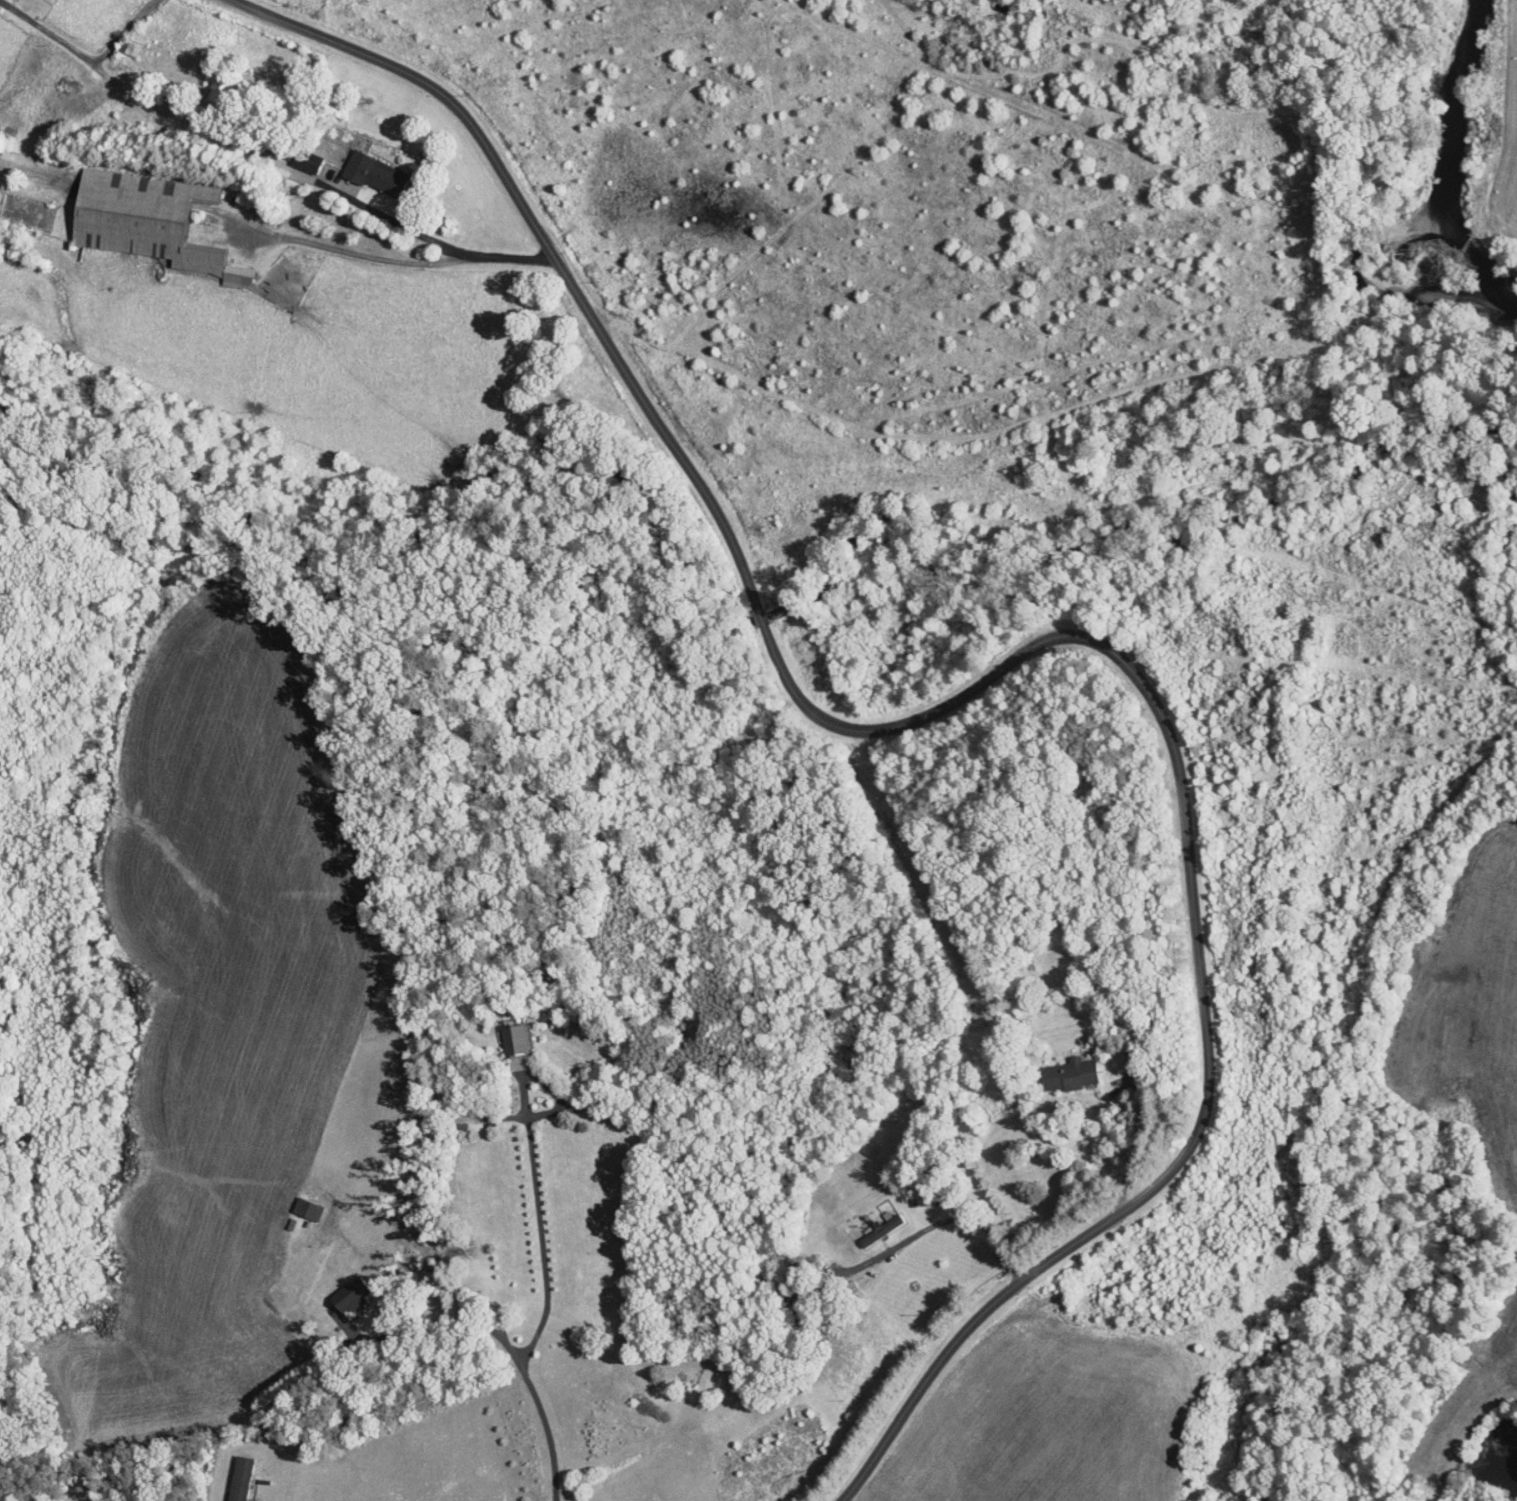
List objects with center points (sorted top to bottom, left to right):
road: (124, 31)
building: (124, 40)
building: (3, 139)
road: (269, 156)
building: (369, 168)
river: (1366, 183)
building: (141, 215)
road: (355, 254)
road: (991, 677)
building: (507, 1032)
building: (1065, 1067)
road: (1143, 1132)
road: (534, 1178)
building: (298, 1202)
road: (944, 1219)
building: (872, 1224)
building: (344, 1288)
road: (1440, 1291)
road: (452, 1309)
road: (247, 1417)
road: (8, 1447)
building: (232, 1474)
road: (2, 1498)

